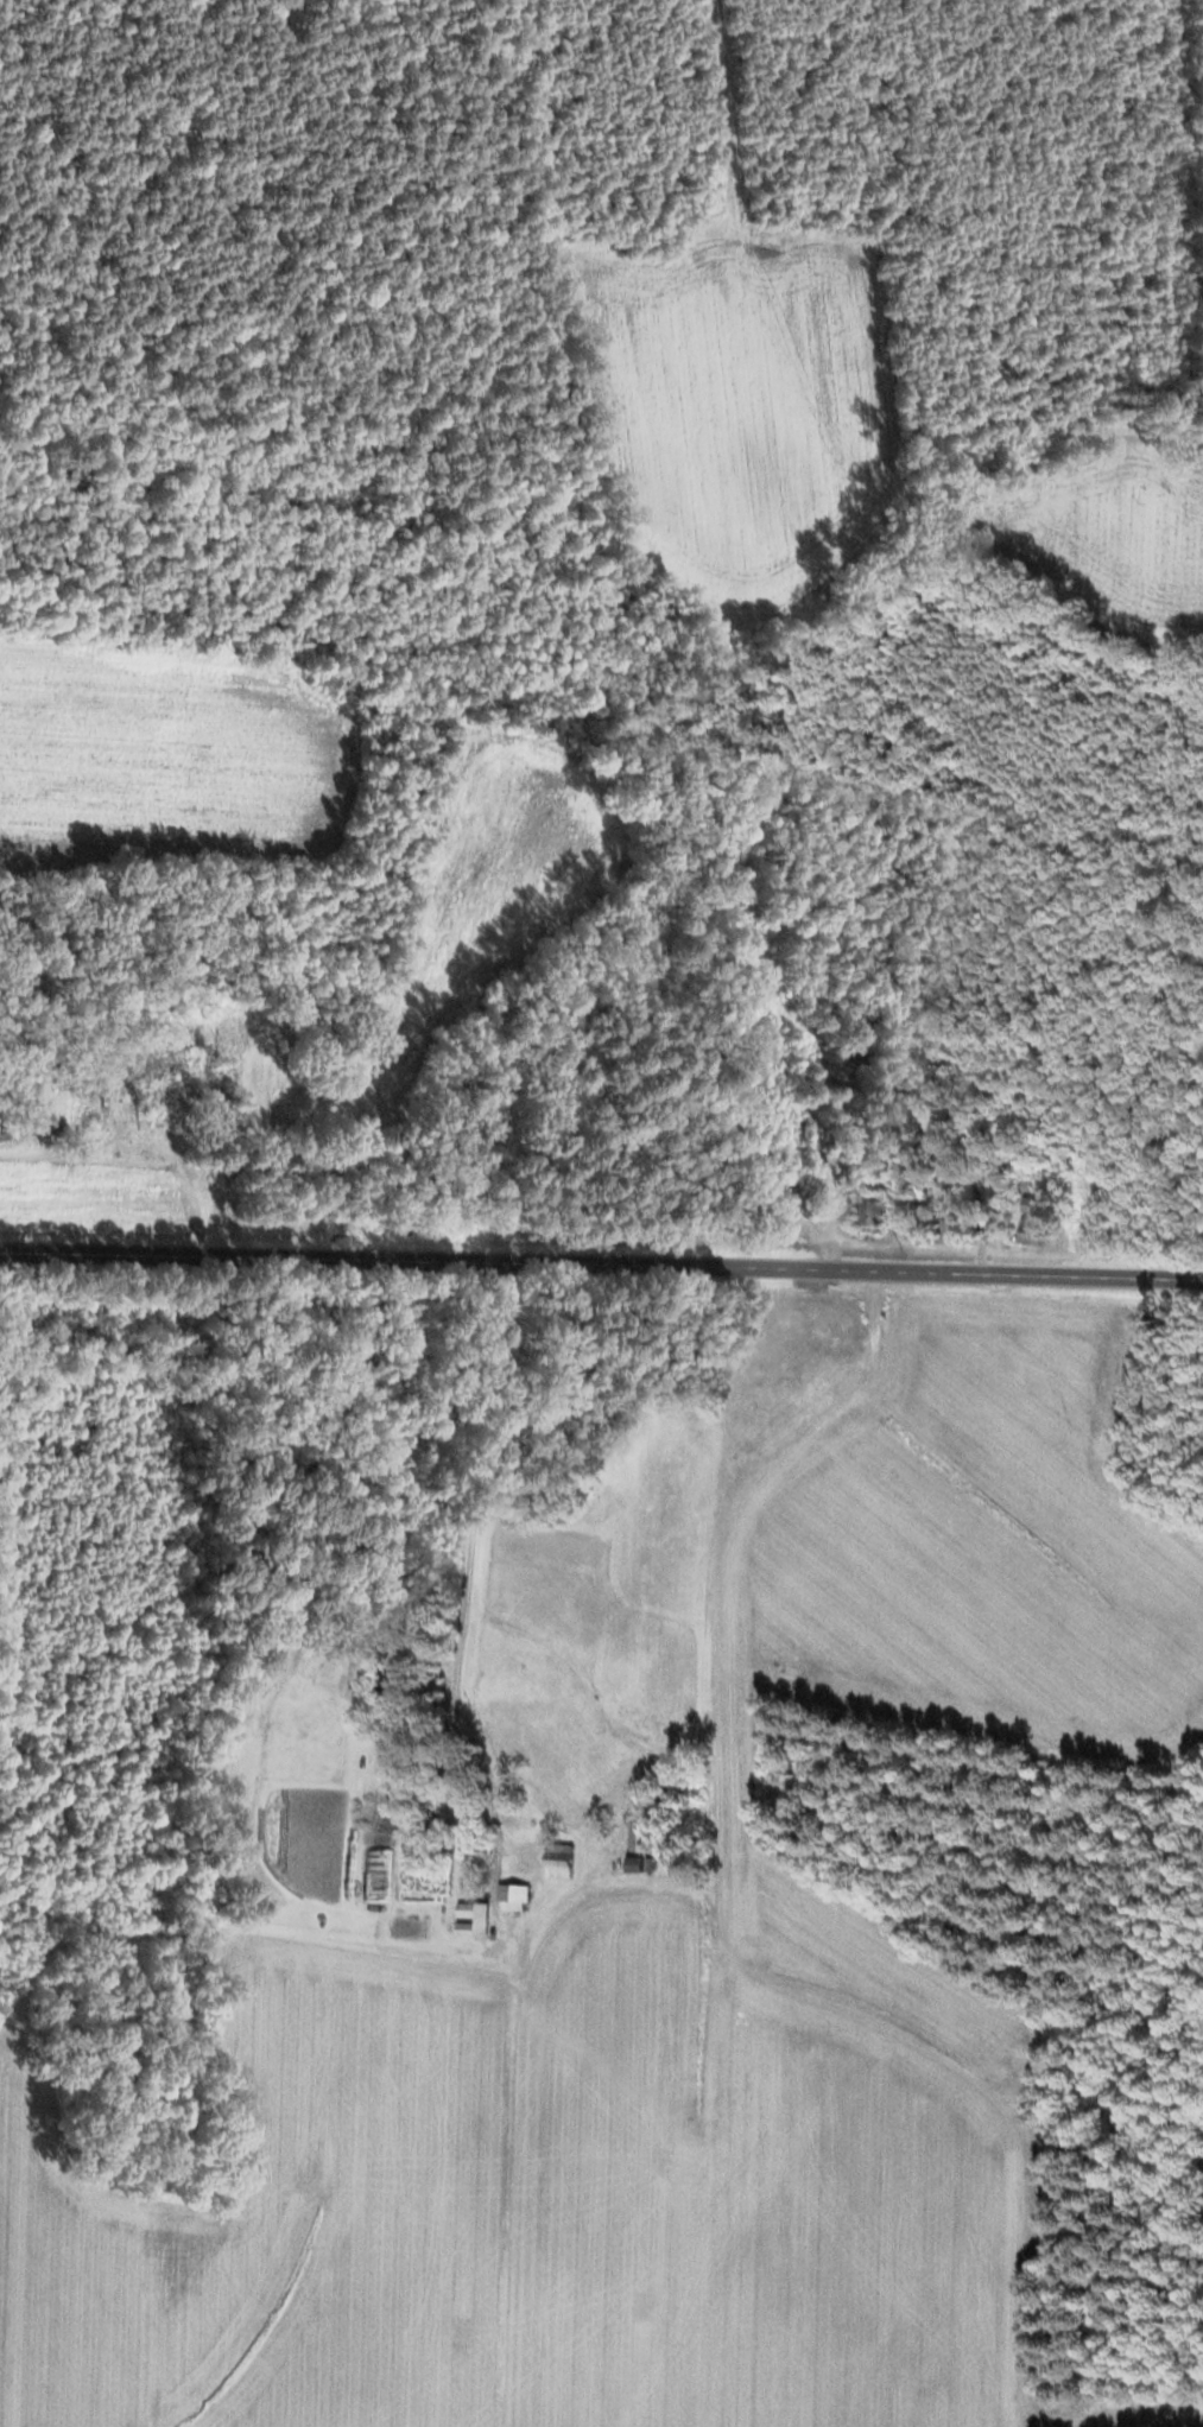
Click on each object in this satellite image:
building: (865, 1022)
building: (848, 1056)
building: (894, 1086)
building: (156, 1101)
building: (794, 1145)
building: (1028, 1148)
building: (989, 1186)
building: (779, 1212)
building: (869, 1216)
building: (1030, 1225)
building: (948, 1232)
road: (601, 1269)
road: (455, 1506)
building: (391, 1693)
building: (635, 1849)
building: (557, 1862)
building: (378, 1874)
building: (512, 1899)
building: (470, 1920)

